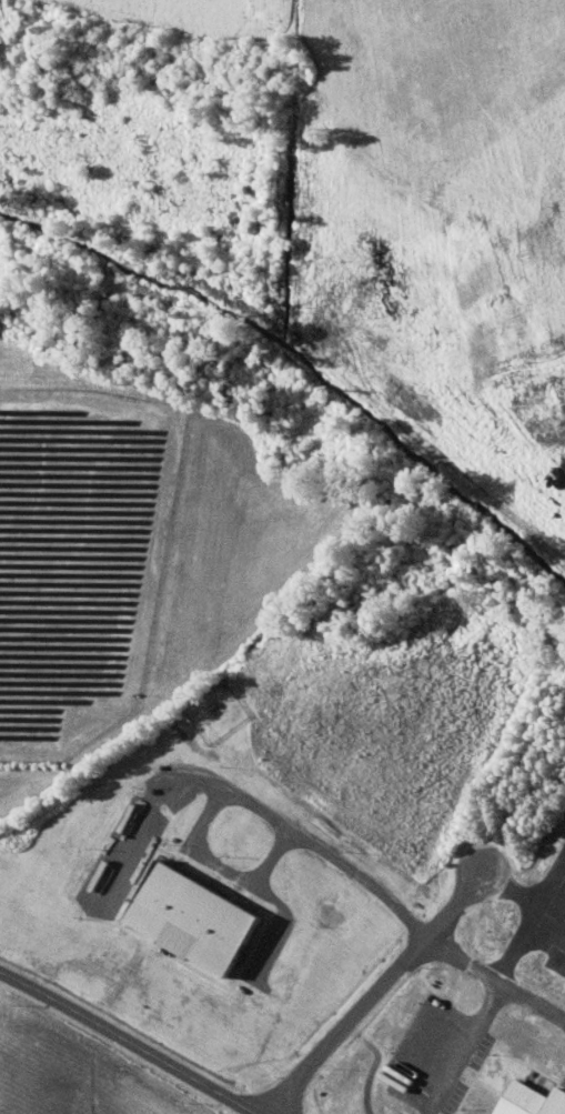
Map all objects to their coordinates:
solar farm: (79, 558)
building: (195, 917)
road: (129, 1040)
building: (532, 1100)

